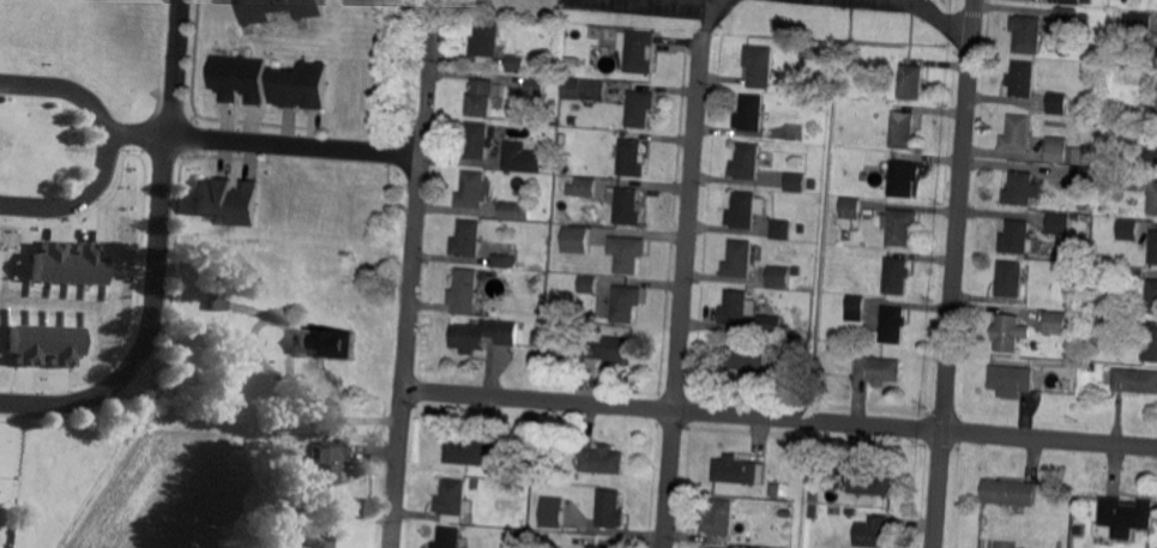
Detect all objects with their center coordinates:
building: (1089, 1)
building: (1073, 2)
building: (276, 10)
road: (713, 16)
building: (1067, 16)
road: (942, 19)
building: (1085, 19)
building: (1140, 26)
building: (1029, 32)
building: (486, 42)
building: (639, 53)
building: (516, 66)
building: (758, 67)
building: (236, 78)
building: (1024, 80)
building: (911, 83)
building: (299, 86)
building: (535, 88)
building: (584, 90)
building: (483, 97)
building: (1059, 106)
building: (639, 107)
building: (749, 113)
building: (904, 133)
building: (1019, 134)
road: (139, 136)
building: (477, 140)
road: (295, 145)
building: (1151, 145)
road: (108, 147)
building: (1059, 150)
building: (1089, 153)
building: (522, 158)
building: (629, 159)
building: (746, 163)
building: (903, 180)
building: (1083, 181)
building: (1132, 181)
building: (796, 182)
building: (585, 187)
building: (568, 189)
building: (1023, 189)
building: (474, 192)
building: (225, 199)
building: (1153, 200)
building: (626, 206)
building: (1086, 207)
building: (850, 210)
building: (514, 213)
building: (741, 213)
building: (1059, 224)
building: (900, 227)
building: (779, 230)
building: (1128, 231)
building: (854, 235)
building: (1017, 237)
building: (576, 240)
building: (468, 241)
building: (1153, 249)
building: (626, 254)
road: (156, 257)
building: (739, 260)
building: (67, 263)
building: (502, 263)
building: (795, 271)
road: (954, 273)
building: (897, 276)
building: (1131, 276)
building: (778, 277)
road: (412, 278)
building: (1011, 279)
building: (586, 285)
building: (855, 288)
road: (683, 289)
building: (465, 291)
building: (1151, 297)
building: (221, 305)
building: (623, 305)
building: (735, 309)
building: (855, 311)
building: (1056, 323)
building: (769, 325)
building: (893, 325)
building: (1008, 335)
building: (483, 336)
building: (537, 338)
building: (44, 343)
building: (332, 343)
building: (775, 344)
building: (1150, 345)
building: (608, 350)
building: (747, 360)
building: (875, 371)
building: (1135, 379)
building: (1013, 381)
road: (779, 417)
building: (466, 452)
building: (601, 460)
building: (325, 468)
building: (737, 471)
building: (832, 477)
building: (870, 483)
building: (767, 493)
building: (812, 495)
building: (1008, 495)
building: (452, 505)
building: (538, 508)
building: (550, 510)
building: (609, 510)
building: (850, 512)
building: (783, 513)
building: (1123, 518)
building: (719, 519)
building: (872, 534)
building: (448, 538)
building: (315, 540)
building: (293, 547)
building: (595, 547)
building: (717, 547)
building: (1019, 547)

